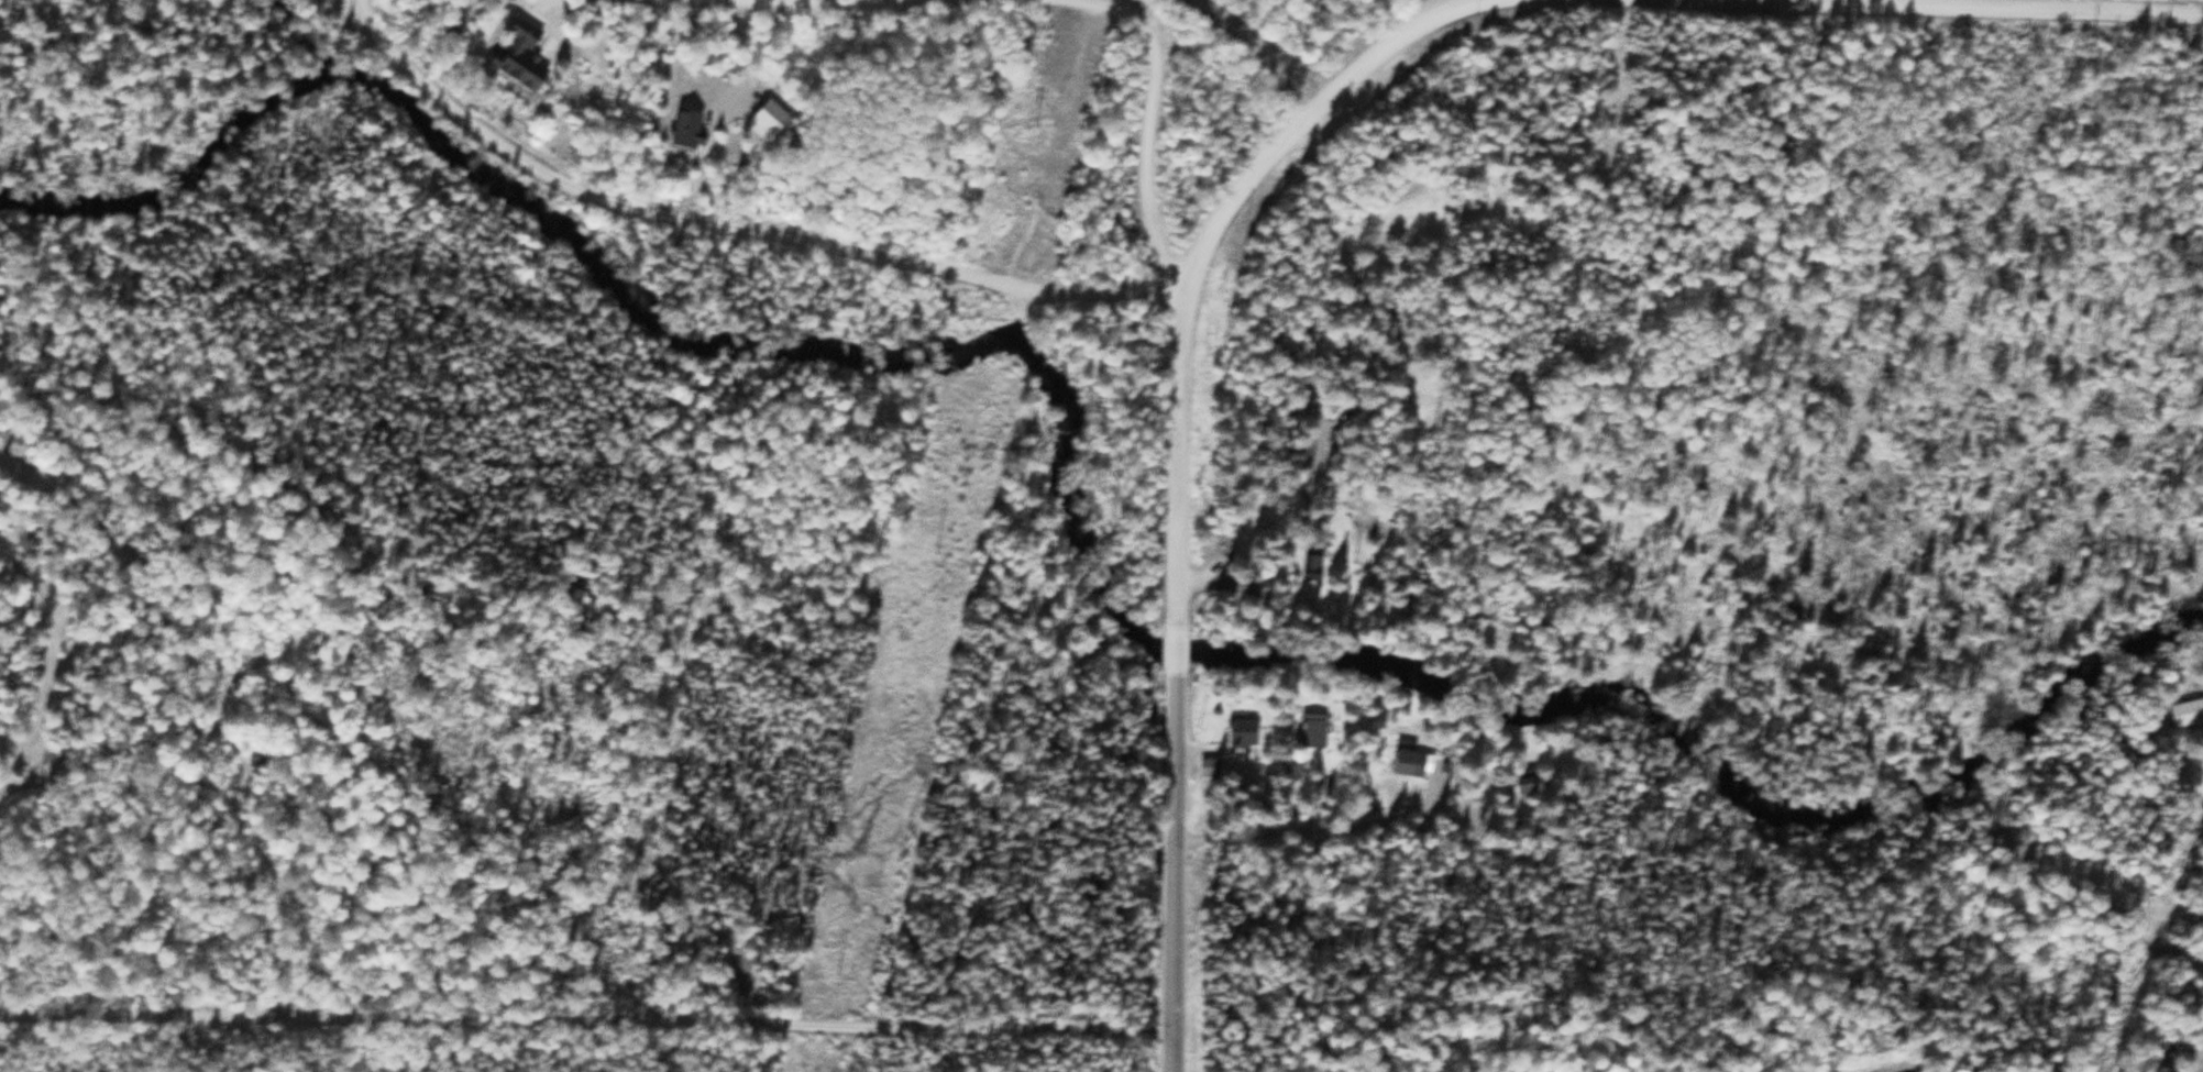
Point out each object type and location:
road: (1444, 2)
road: (536, 4)
road: (2046, 7)
road: (367, 8)
building: (522, 55)
road: (1146, 122)
building: (687, 129)
road: (1065, 144)
road: (928, 264)
road: (1311, 332)
road: (1176, 438)
river: (1064, 489)
building: (1311, 567)
building: (1249, 587)
road: (1175, 640)
road: (38, 662)
building: (2187, 711)
building: (1242, 728)
building: (1312, 729)
building: (1413, 762)
building: (1209, 766)
building: (1532, 781)
road: (1172, 873)
road: (509, 1019)
road: (1095, 1026)

